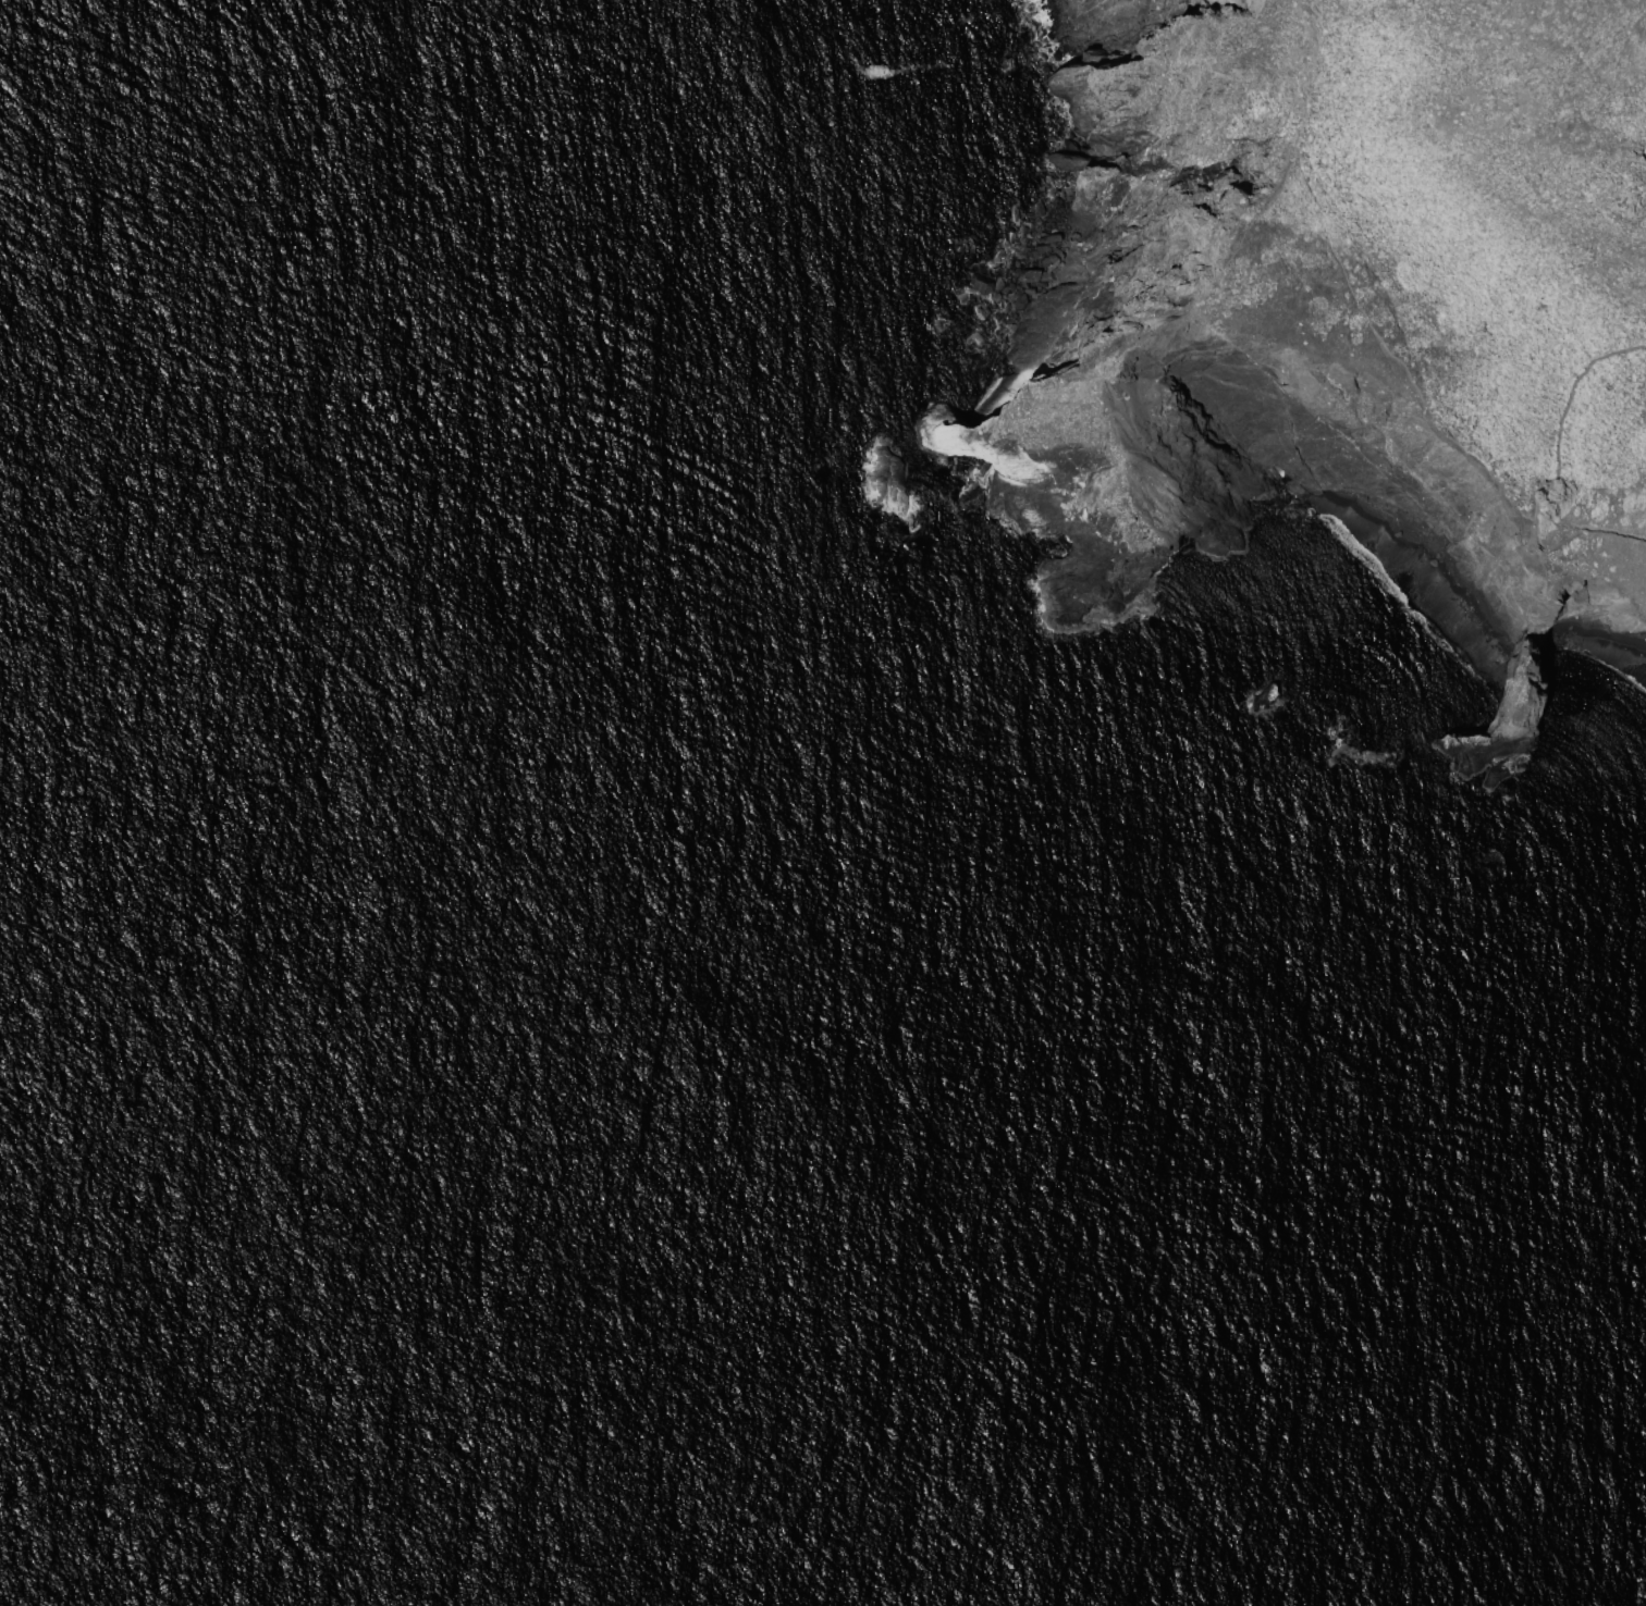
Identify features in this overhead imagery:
road: (1260, 219)
road: (1350, 281)
road: (1645, 393)
road: (1556, 425)

